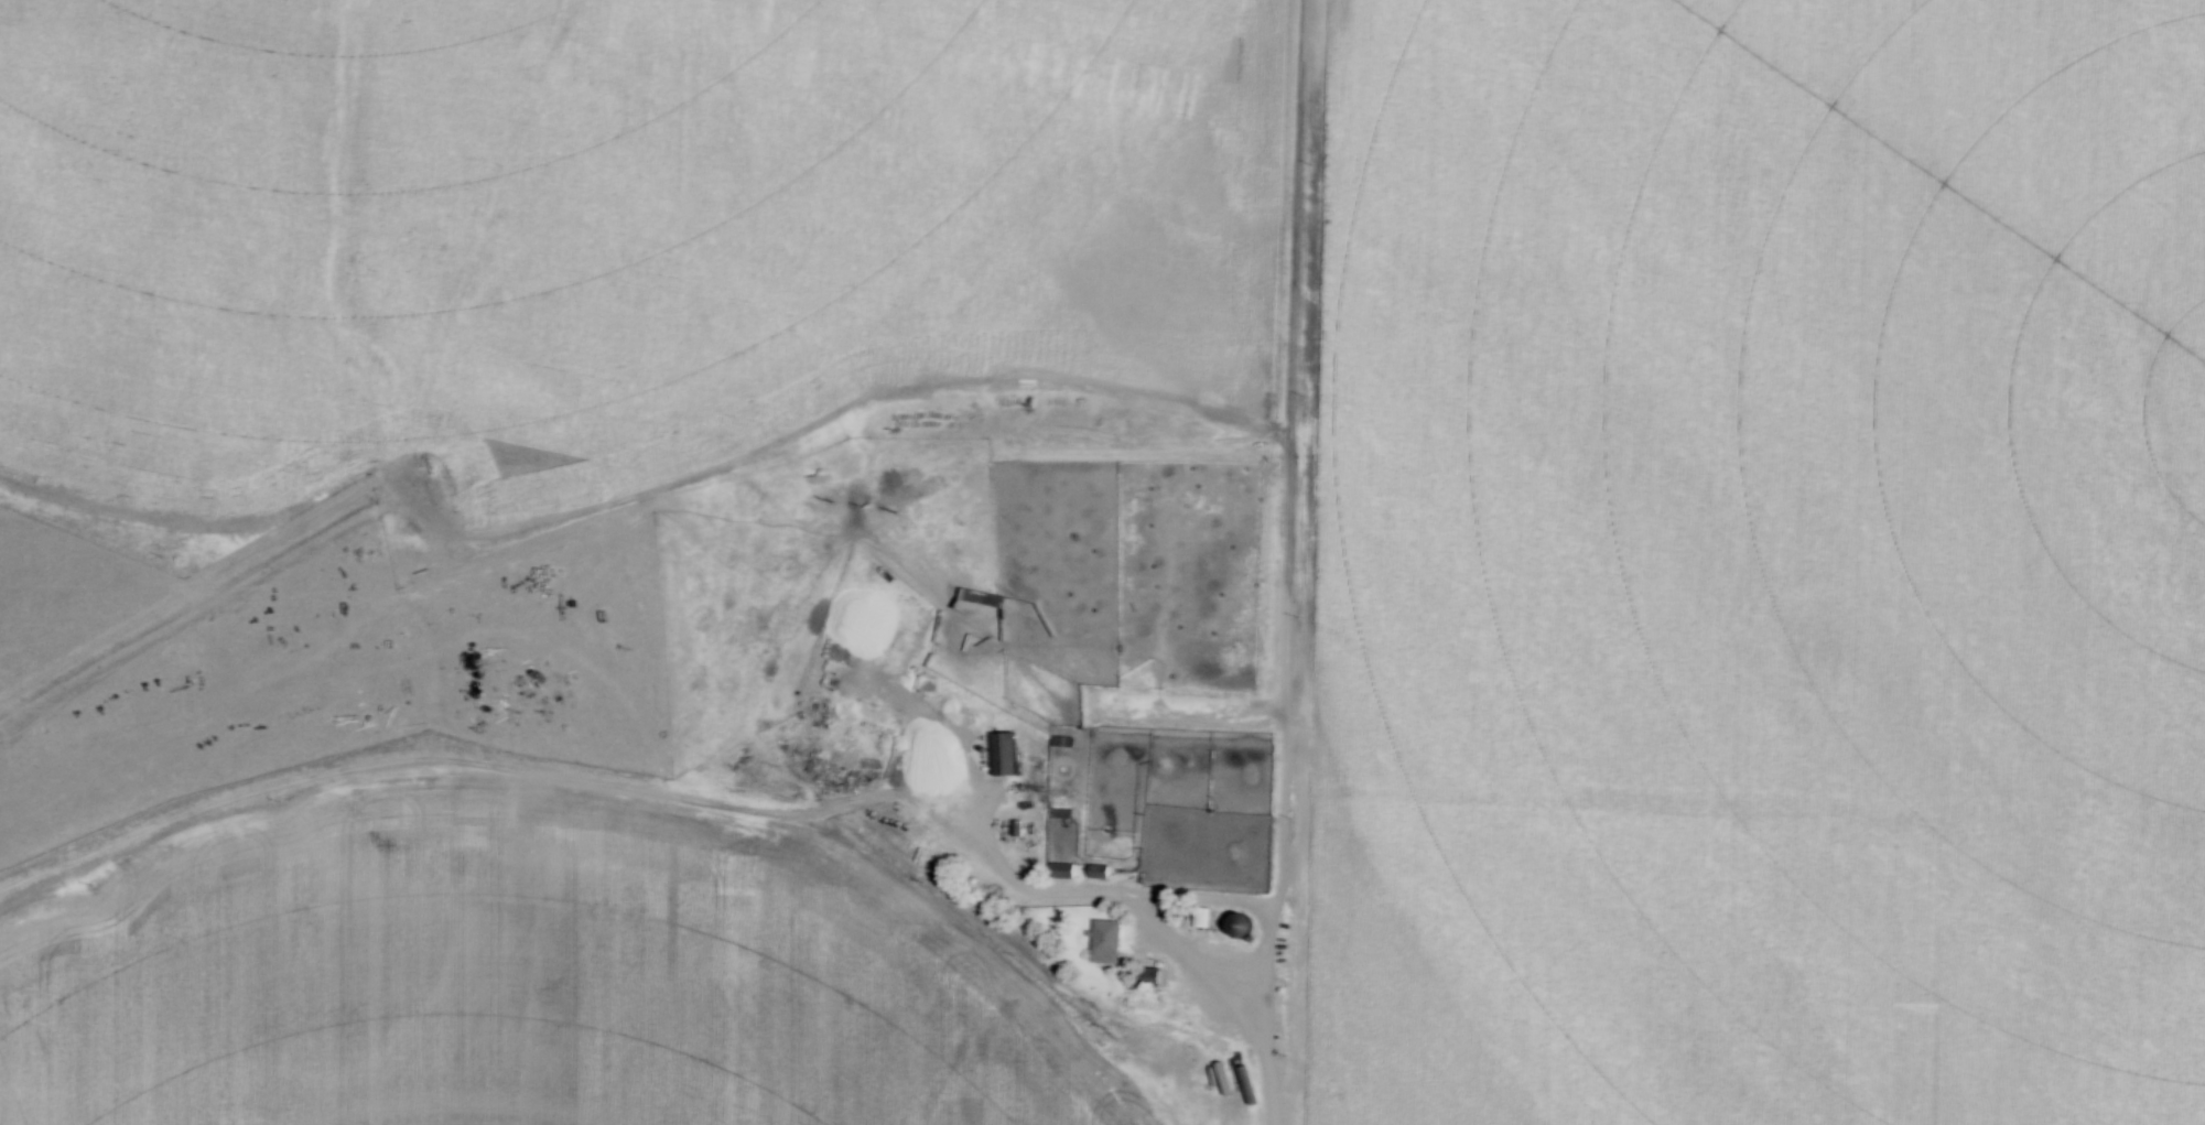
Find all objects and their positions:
crop: (597, 223)
crop: (1753, 563)
building: (962, 634)
building: (955, 639)
building: (1050, 744)
building: (1005, 751)
building: (993, 754)
building: (1049, 815)
building: (1004, 831)
building: (1061, 869)
building: (1051, 873)
building: (1087, 873)
road: (1117, 897)
building: (1191, 919)
building: (1231, 927)
silo: (1231, 927)
building: (1096, 943)
crop: (501, 978)
road: (1258, 1084)

